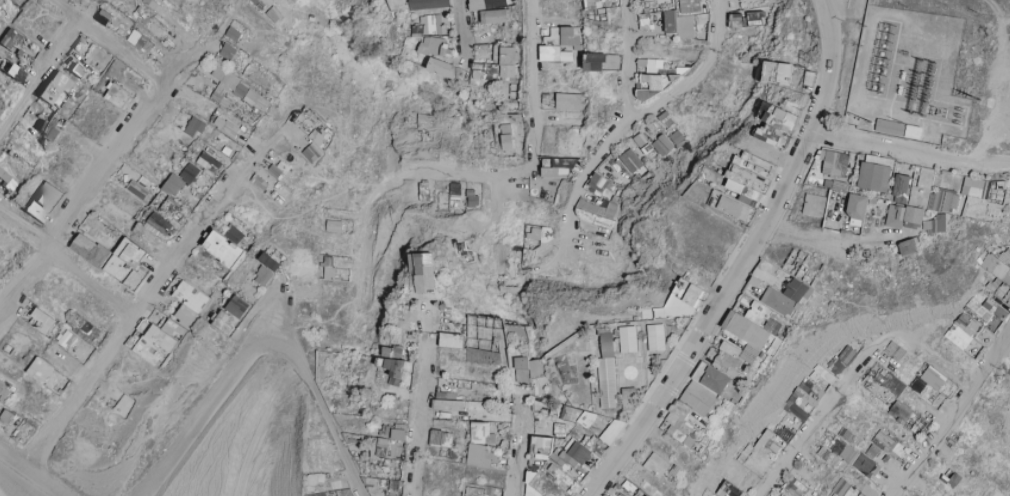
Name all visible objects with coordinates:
power substation: (910, 74)
power tower: (980, 95)

